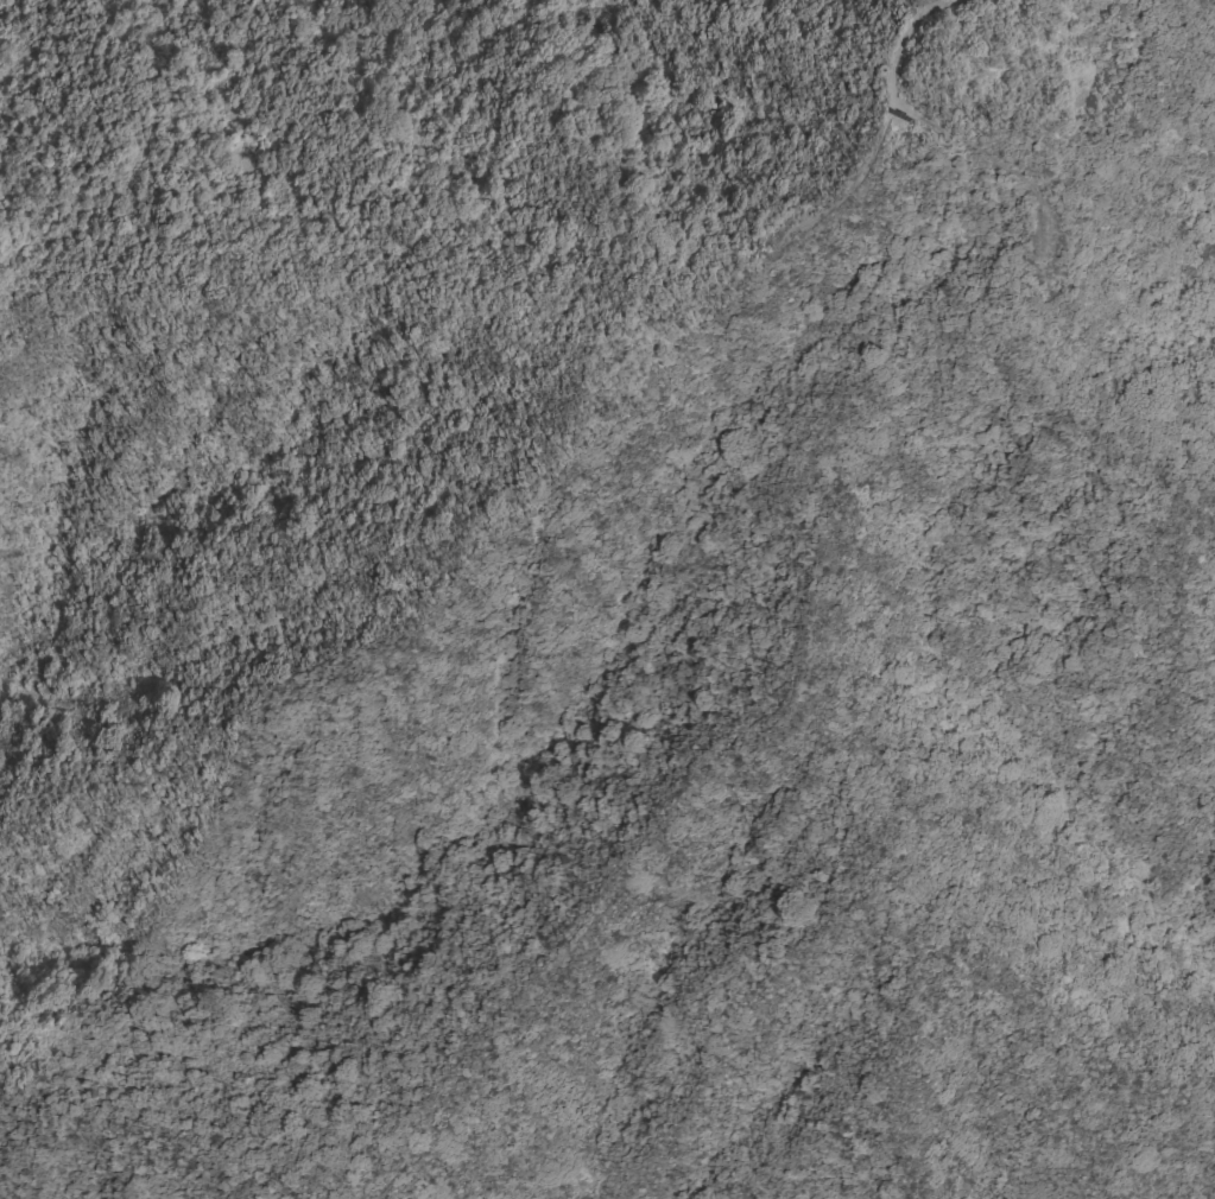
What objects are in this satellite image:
road: (947, 137)

